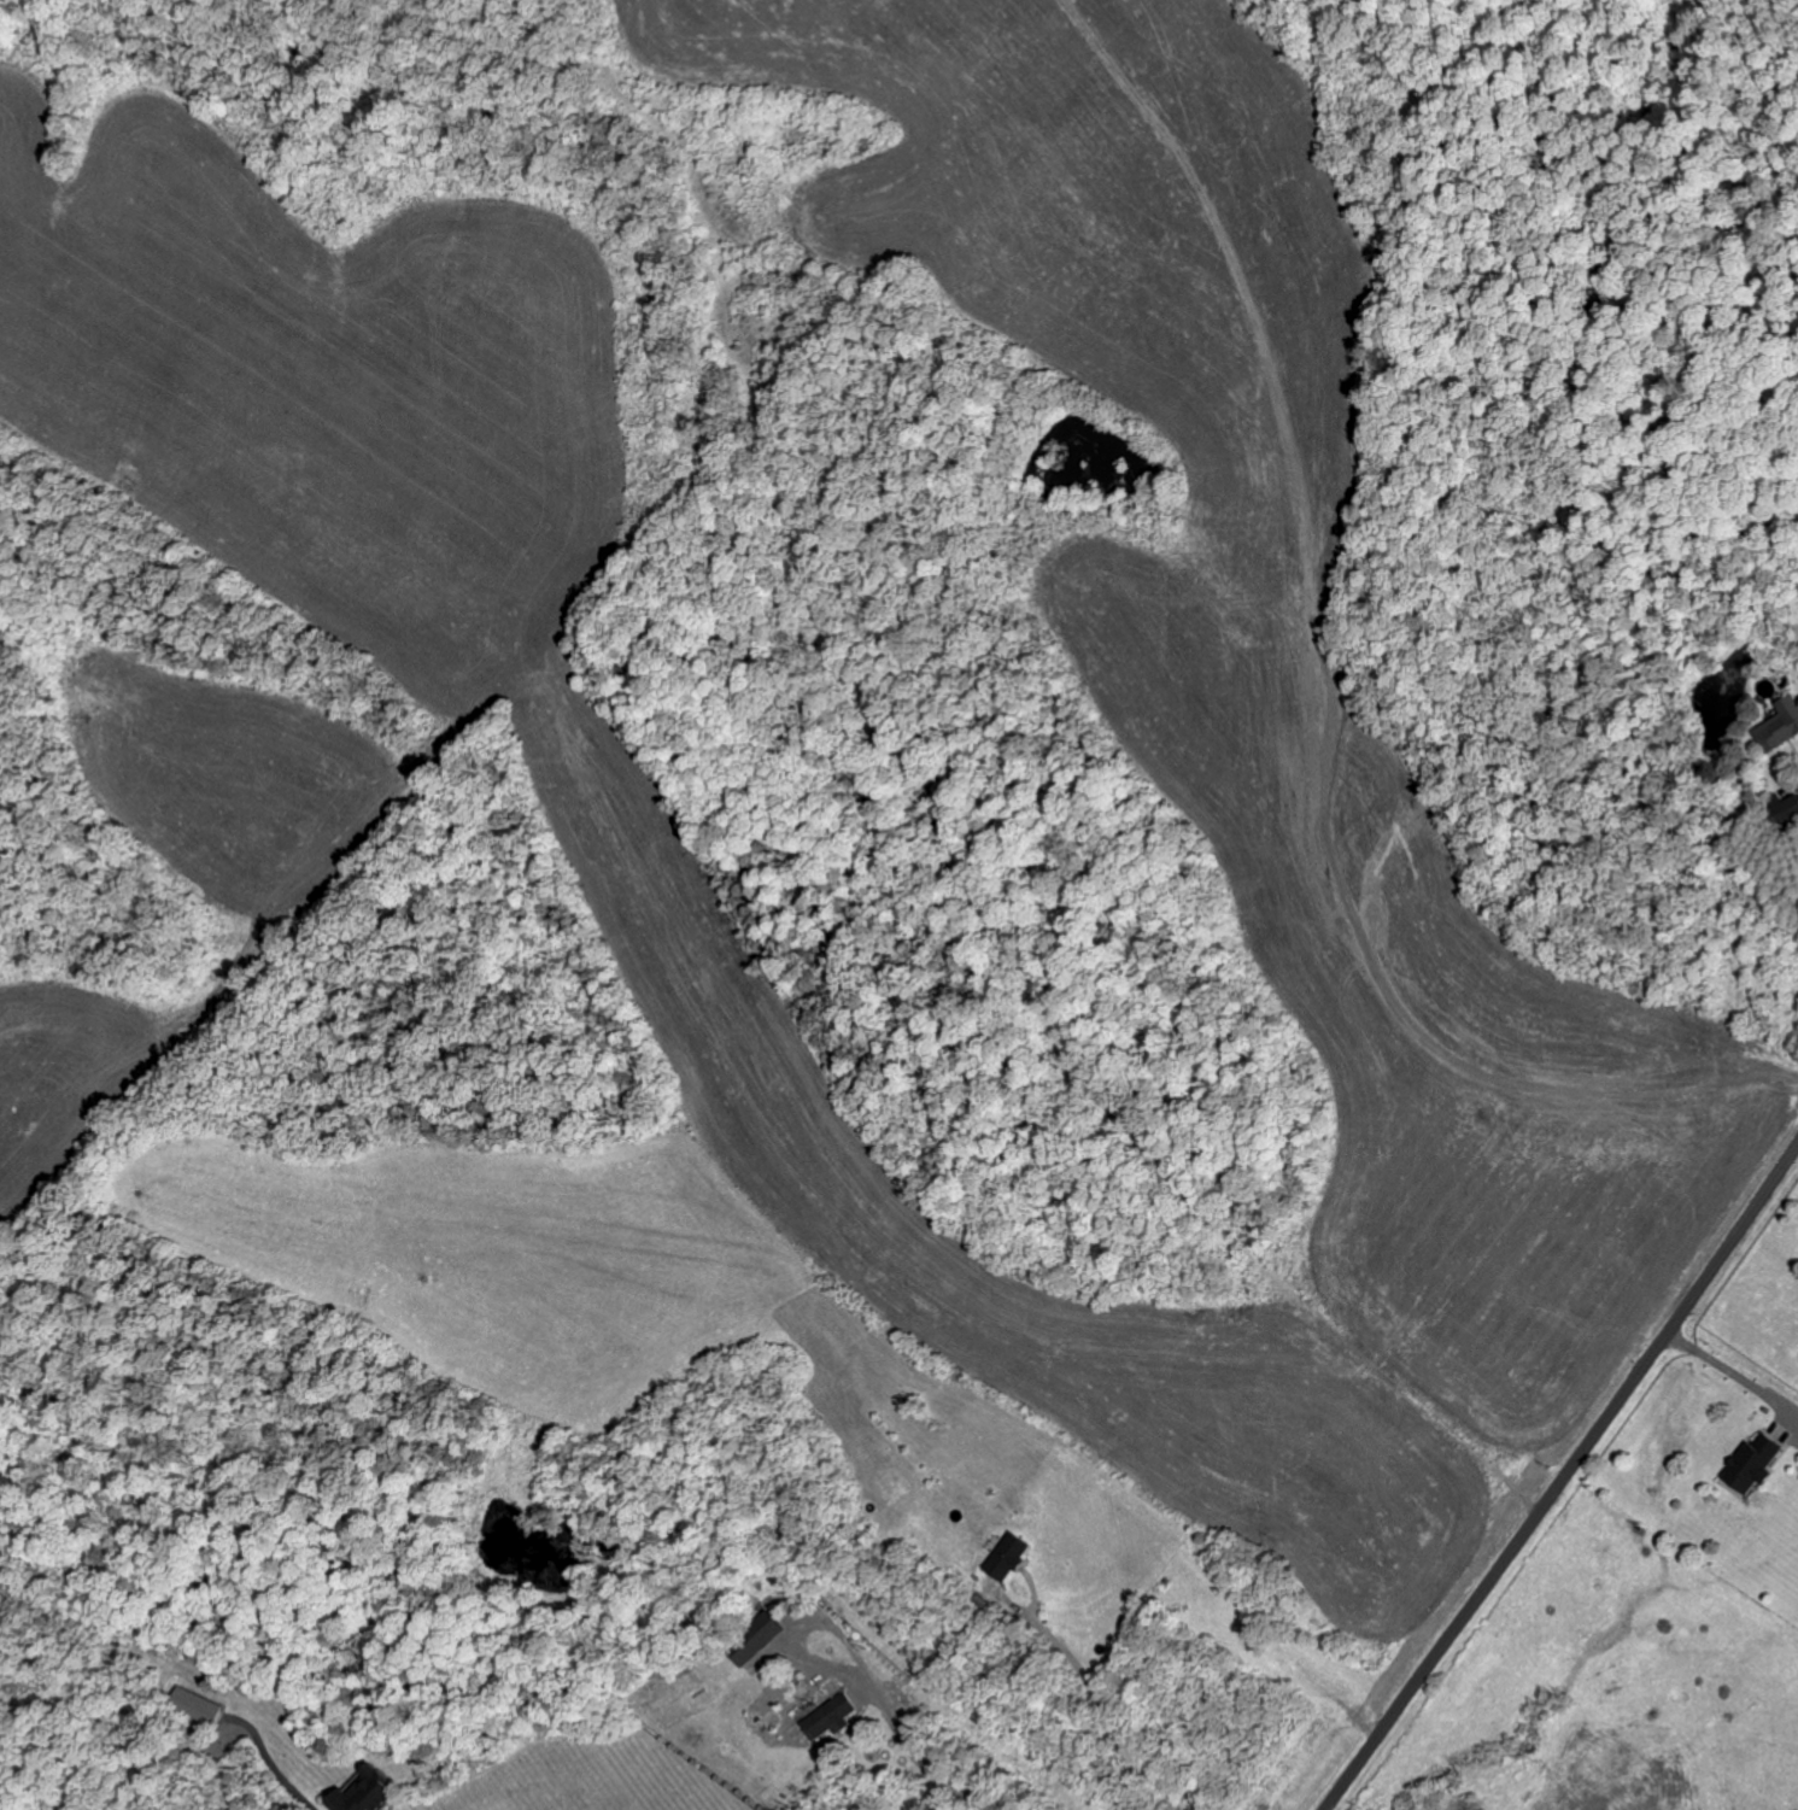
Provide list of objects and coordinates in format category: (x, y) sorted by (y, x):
building: (1781, 726)
road: (954, 749)
building: (1788, 812)
road: (1735, 1380)
building: (1759, 1464)
road: (1564, 1481)
building: (1012, 1559)
road: (806, 1628)
building: (759, 1640)
road: (1105, 1710)
building: (200, 1712)
building: (832, 1720)
road: (923, 1761)
building: (370, 1794)

